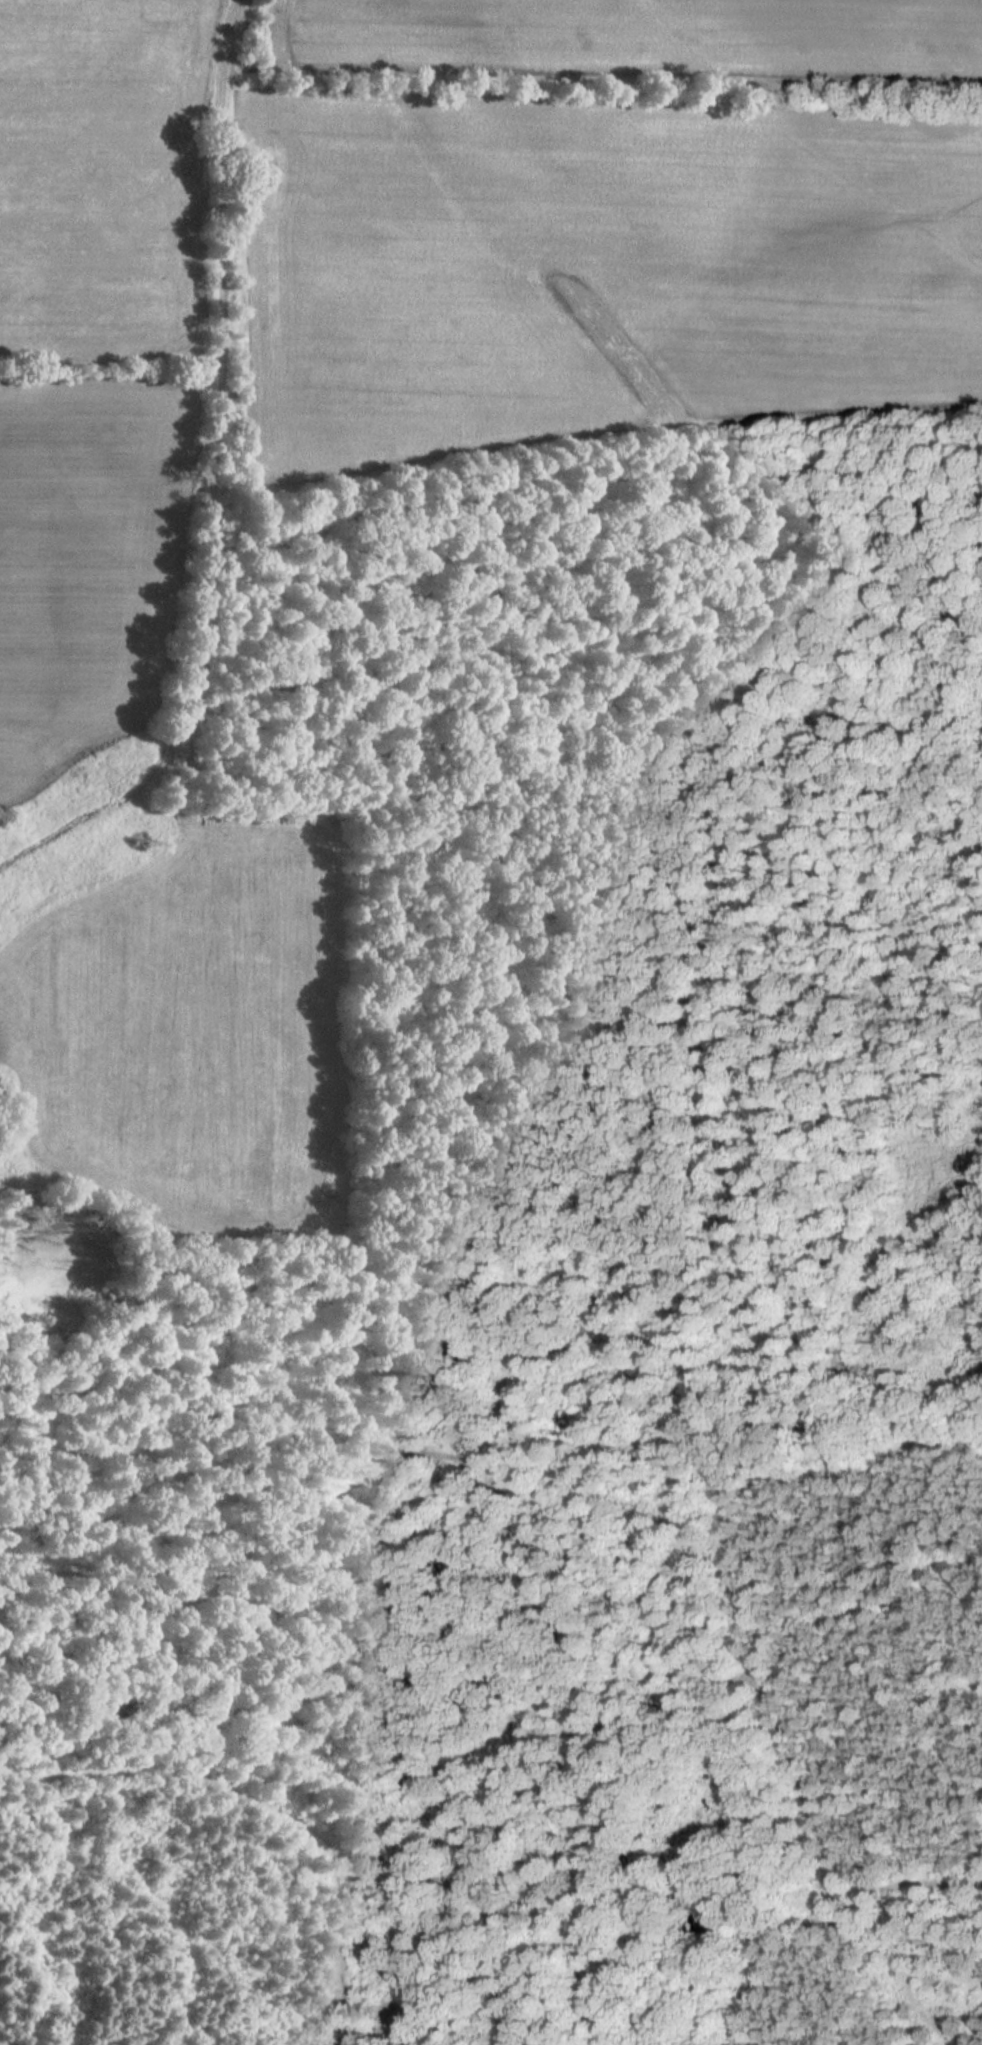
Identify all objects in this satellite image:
road: (231, 2)
road: (215, 427)

